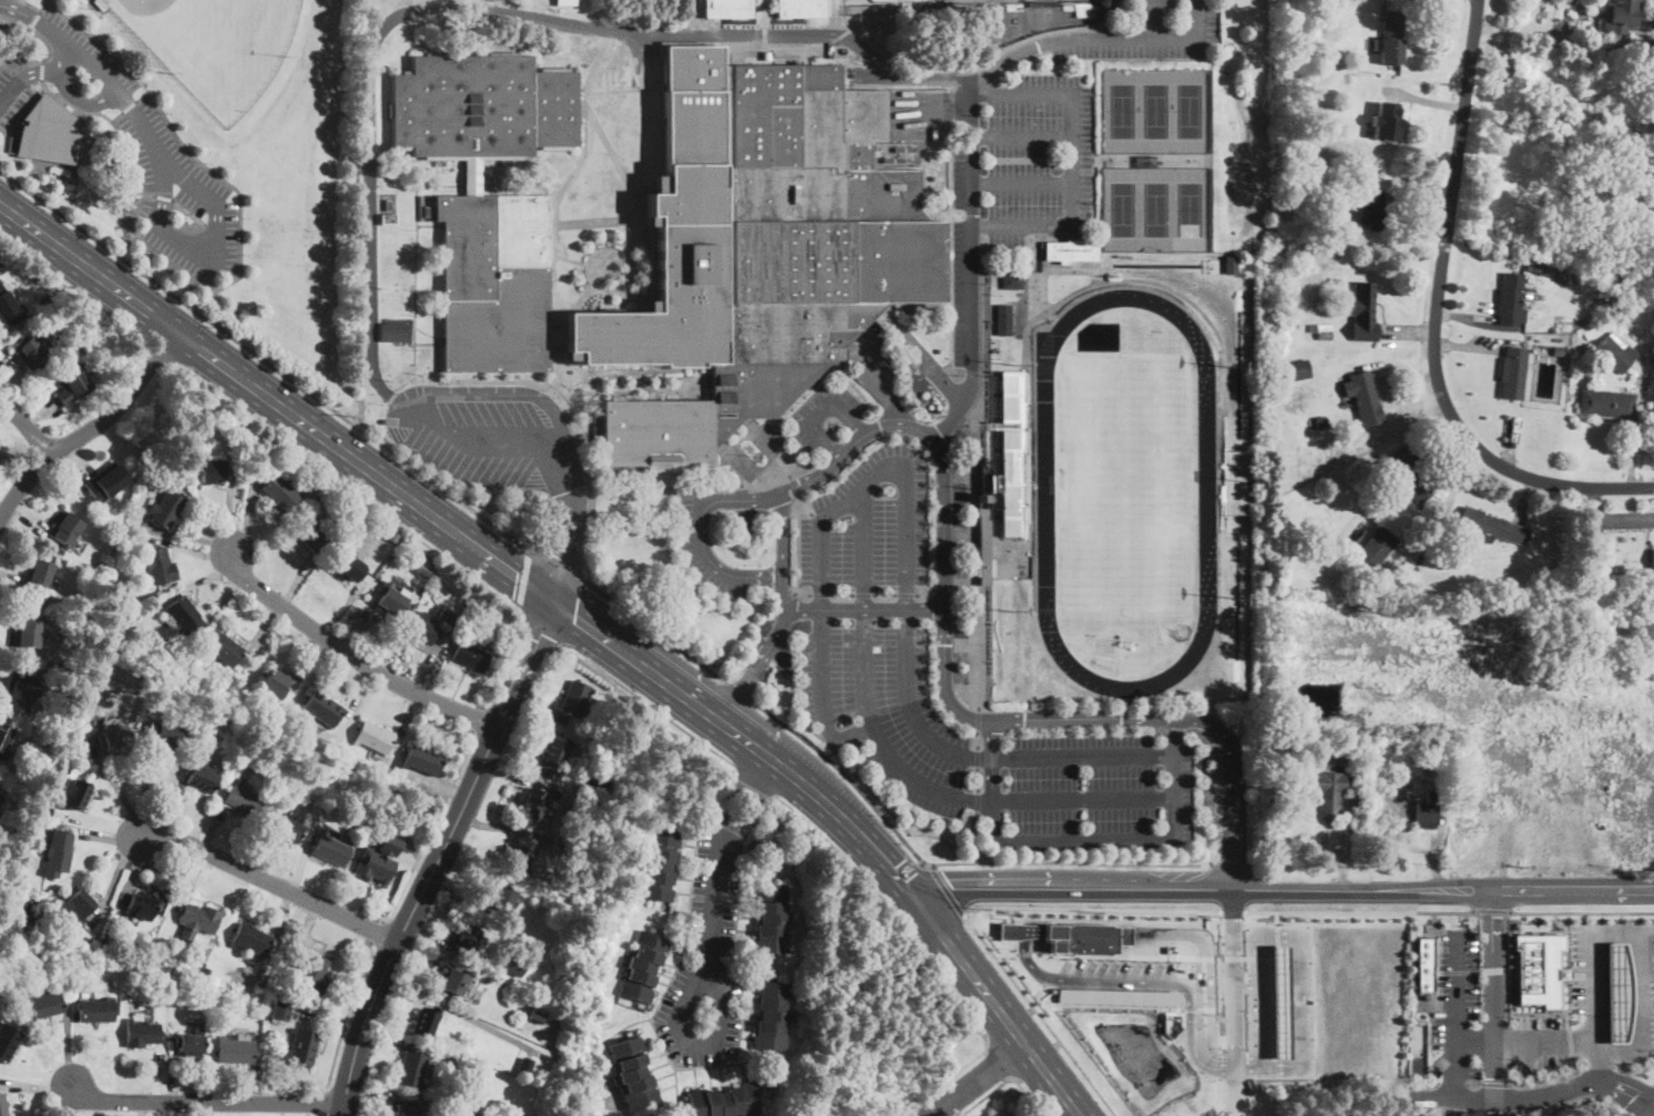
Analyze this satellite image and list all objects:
park: (967, 0)
building: (565, 2)
building: (1103, 2)
building: (99, 4)
building: (1043, 4)
parking lot: (1156, 7)
road: (37, 8)
road: (545, 9)
building: (727, 9)
building: (799, 9)
road: (19, 11)
building: (1619, 17)
road: (1155, 18)
road: (34, 19)
road: (390, 21)
road: (1184, 21)
building: (1318, 21)
road: (1154, 25)
building: (887, 30)
road: (1042, 31)
road: (1529, 35)
road: (1097, 37)
building: (1389, 38)
park: (216, 44)
parking lot: (1150, 44)
building: (1637, 47)
road: (50, 49)
road: (42, 70)
road: (32, 73)
road: (43, 83)
road: (80, 96)
road: (142, 96)
road: (129, 105)
building: (482, 107)
park: (1155, 109)
road: (20, 114)
road: (118, 115)
building: (1385, 122)
building: (48, 131)
building: (1324, 134)
road: (1022, 135)
building: (1582, 137)
parking lot: (137, 149)
building: (1634, 152)
parking lot: (1041, 156)
park: (211, 160)
road: (1071, 160)
building: (472, 177)
road: (1022, 182)
road: (195, 185)
building: (1320, 190)
road: (147, 194)
building: (1340, 196)
road: (163, 197)
road: (417, 204)
park: (1155, 206)
road: (554, 211)
road: (636, 211)
building: (1367, 211)
road: (190, 212)
building: (388, 219)
road: (595, 221)
building: (395, 243)
building: (758, 250)
building: (1071, 250)
parking lot: (967, 255)
road: (973, 264)
building: (1533, 264)
building: (1229, 265)
road: (242, 272)
building: (395, 273)
building: (1011, 280)
building: (494, 283)
building: (1607, 284)
road: (72, 288)
road: (334, 293)
building: (1510, 299)
building: (395, 300)
building: (8, 308)
building: (1362, 311)
building: (50, 314)
building: (1003, 320)
road: (1436, 321)
building: (395, 328)
building: (1320, 330)
road: (154, 350)
building: (1558, 350)
building: (32, 352)
building: (1616, 354)
building: (395, 357)
road: (264, 359)
building: (1299, 369)
building: (1513, 372)
building: (73, 383)
road: (518, 391)
building: (1364, 398)
road: (274, 400)
building: (1606, 402)
road: (818, 411)
parking lot: (825, 416)
building: (1321, 422)
road: (25, 426)
road: (90, 429)
building: (244, 434)
parking lot: (492, 437)
road: (854, 446)
building: (212, 471)
road: (586, 471)
road: (882, 472)
building: (1408, 472)
building: (106, 482)
building: (993, 484)
road: (346, 485)
building: (282, 492)
track: (1126, 492)
park: (1127, 493)
building: (170, 509)
building: (353, 512)
road: (946, 519)
parking lot: (871, 523)
building: (1490, 526)
building: (68, 530)
road: (698, 532)
building: (309, 534)
road: (570, 539)
building: (387, 540)
building: (334, 542)
building: (983, 544)
building: (1377, 546)
building: (1593, 547)
road: (862, 550)
road: (784, 552)
building: (1652, 560)
road: (553, 561)
building: (160, 566)
building: (349, 566)
building: (421, 572)
road: (522, 576)
building: (39, 577)
traffic signals: (549, 596)
building: (391, 598)
road: (518, 606)
building: (89, 610)
road: (570, 610)
building: (185, 615)
building: (448, 618)
road: (651, 627)
building: (422, 629)
road: (542, 629)
building: (28, 632)
building: (442, 637)
road: (978, 648)
building: (225, 651)
building: (1409, 654)
road: (353, 656)
building: (470, 656)
road: (503, 664)
building: (275, 684)
building: (19, 690)
road: (739, 690)
building: (213, 693)
road: (825, 696)
building: (575, 699)
road: (643, 700)
road: (1444, 704)
road: (1573, 704)
building: (323, 708)
road: (911, 710)
parking lot: (871, 717)
road: (477, 718)
building: (208, 719)
road: (976, 720)
road: (979, 721)
building: (259, 726)
building: (166, 733)
building: (277, 735)
building: (116, 737)
building: (375, 738)
road: (882, 738)
building: (4, 740)
road: (748, 740)
road: (978, 740)
building: (1436, 743)
road: (1573, 745)
building: (555, 752)
building: (1344, 755)
road: (1083, 756)
road: (1493, 756)
road: (978, 759)
building: (422, 760)
road: (845, 774)
building: (203, 779)
road: (978, 780)
road: (145, 781)
road: (754, 781)
building: (420, 782)
building: (598, 782)
road: (734, 787)
road: (118, 788)
building: (390, 788)
building: (1329, 794)
building: (76, 796)
road: (753, 798)
building: (1, 799)
road: (1083, 800)
building: (1583, 800)
building: (243, 801)
road: (978, 802)
building: (534, 806)
building: (578, 810)
building: (1425, 816)
building: (596, 818)
road: (433, 828)
building: (286, 829)
road: (971, 837)
road: (1084, 839)
building: (331, 850)
building: (521, 852)
building: (59, 853)
road: (442, 854)
building: (28, 856)
building: (380, 860)
road: (1079, 862)
road: (1222, 862)
building: (7, 864)
building: (658, 866)
road: (932, 867)
road: (269, 882)
road: (1286, 889)
road: (946, 891)
building: (502, 900)
building: (79, 905)
building: (142, 908)
road: (1089, 908)
road: (1491, 910)
road: (1232, 911)
road: (1330, 911)
road: (1444, 911)
road: (1524, 911)
road: (1275, 918)
building: (770, 919)
building: (196, 920)
building: (6, 924)
road: (377, 933)
building: (1071, 935)
building: (466, 938)
building: (251, 939)
building: (104, 942)
building: (557, 943)
building: (157, 951)
road: (1005, 953)
road: (925, 955)
road: (1594, 959)
building: (1426, 963)
building: (514, 966)
building: (643, 966)
road: (1492, 969)
building: (1539, 970)
building: (206, 971)
building: (145, 972)
road: (1203, 972)
building: (313, 975)
road: (1299, 977)
building: (452, 982)
road: (1144, 982)
building: (198, 986)
parking lot: (1637, 990)
parking lot: (1591, 991)
building: (1619, 991)
gas station: (1619, 991)
road: (690, 992)
building: (1117, 996)
parking lot: (1454, 1000)
road: (1234, 1001)
building: (1277, 1002)
building: (42, 1005)
road: (1454, 1007)
building: (96, 1011)
building: (282, 1011)
building: (518, 1013)
road: (1002, 1013)
road: (1038, 1013)
building: (537, 1015)
building: (770, 1015)
road: (347, 1016)
road: (1647, 1016)
building: (425, 1024)
road: (1258, 1027)
building: (141, 1034)
road: (1474, 1040)
parking lot: (1543, 1040)
road: (1545, 1040)
building: (8, 1041)
road: (1509, 1041)
building: (190, 1044)
building: (299, 1047)
building: (236, 1051)
road: (1599, 1061)
road: (997, 1062)
building: (524, 1064)
road: (1600, 1066)
building: (415, 1069)
road: (1228, 1069)
road: (1634, 1072)
building: (633, 1073)
road: (978, 1079)
road: (1492, 1079)
road: (1536, 1083)
road: (1025, 1095)
road: (982, 1096)
building: (462, 1098)
road: (1466, 1098)
road: (1641, 1100)
road: (207, 1102)
building: (724, 1102)
road: (320, 1104)
building: (2, 1106)
building: (405, 1108)
road: (1487, 1108)
parking lot: (980, 1114)

